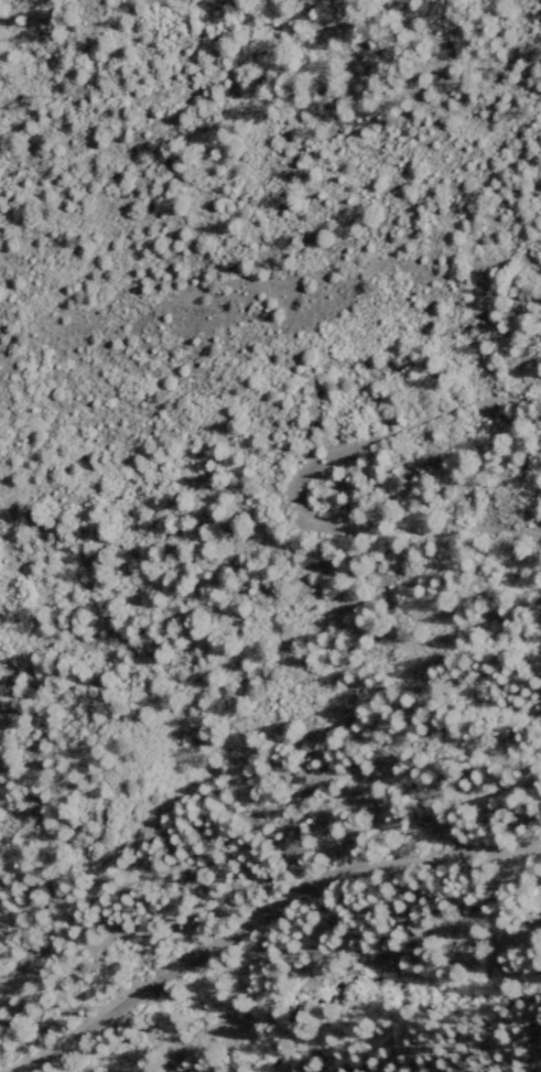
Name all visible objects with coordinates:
road: (268, 890)

